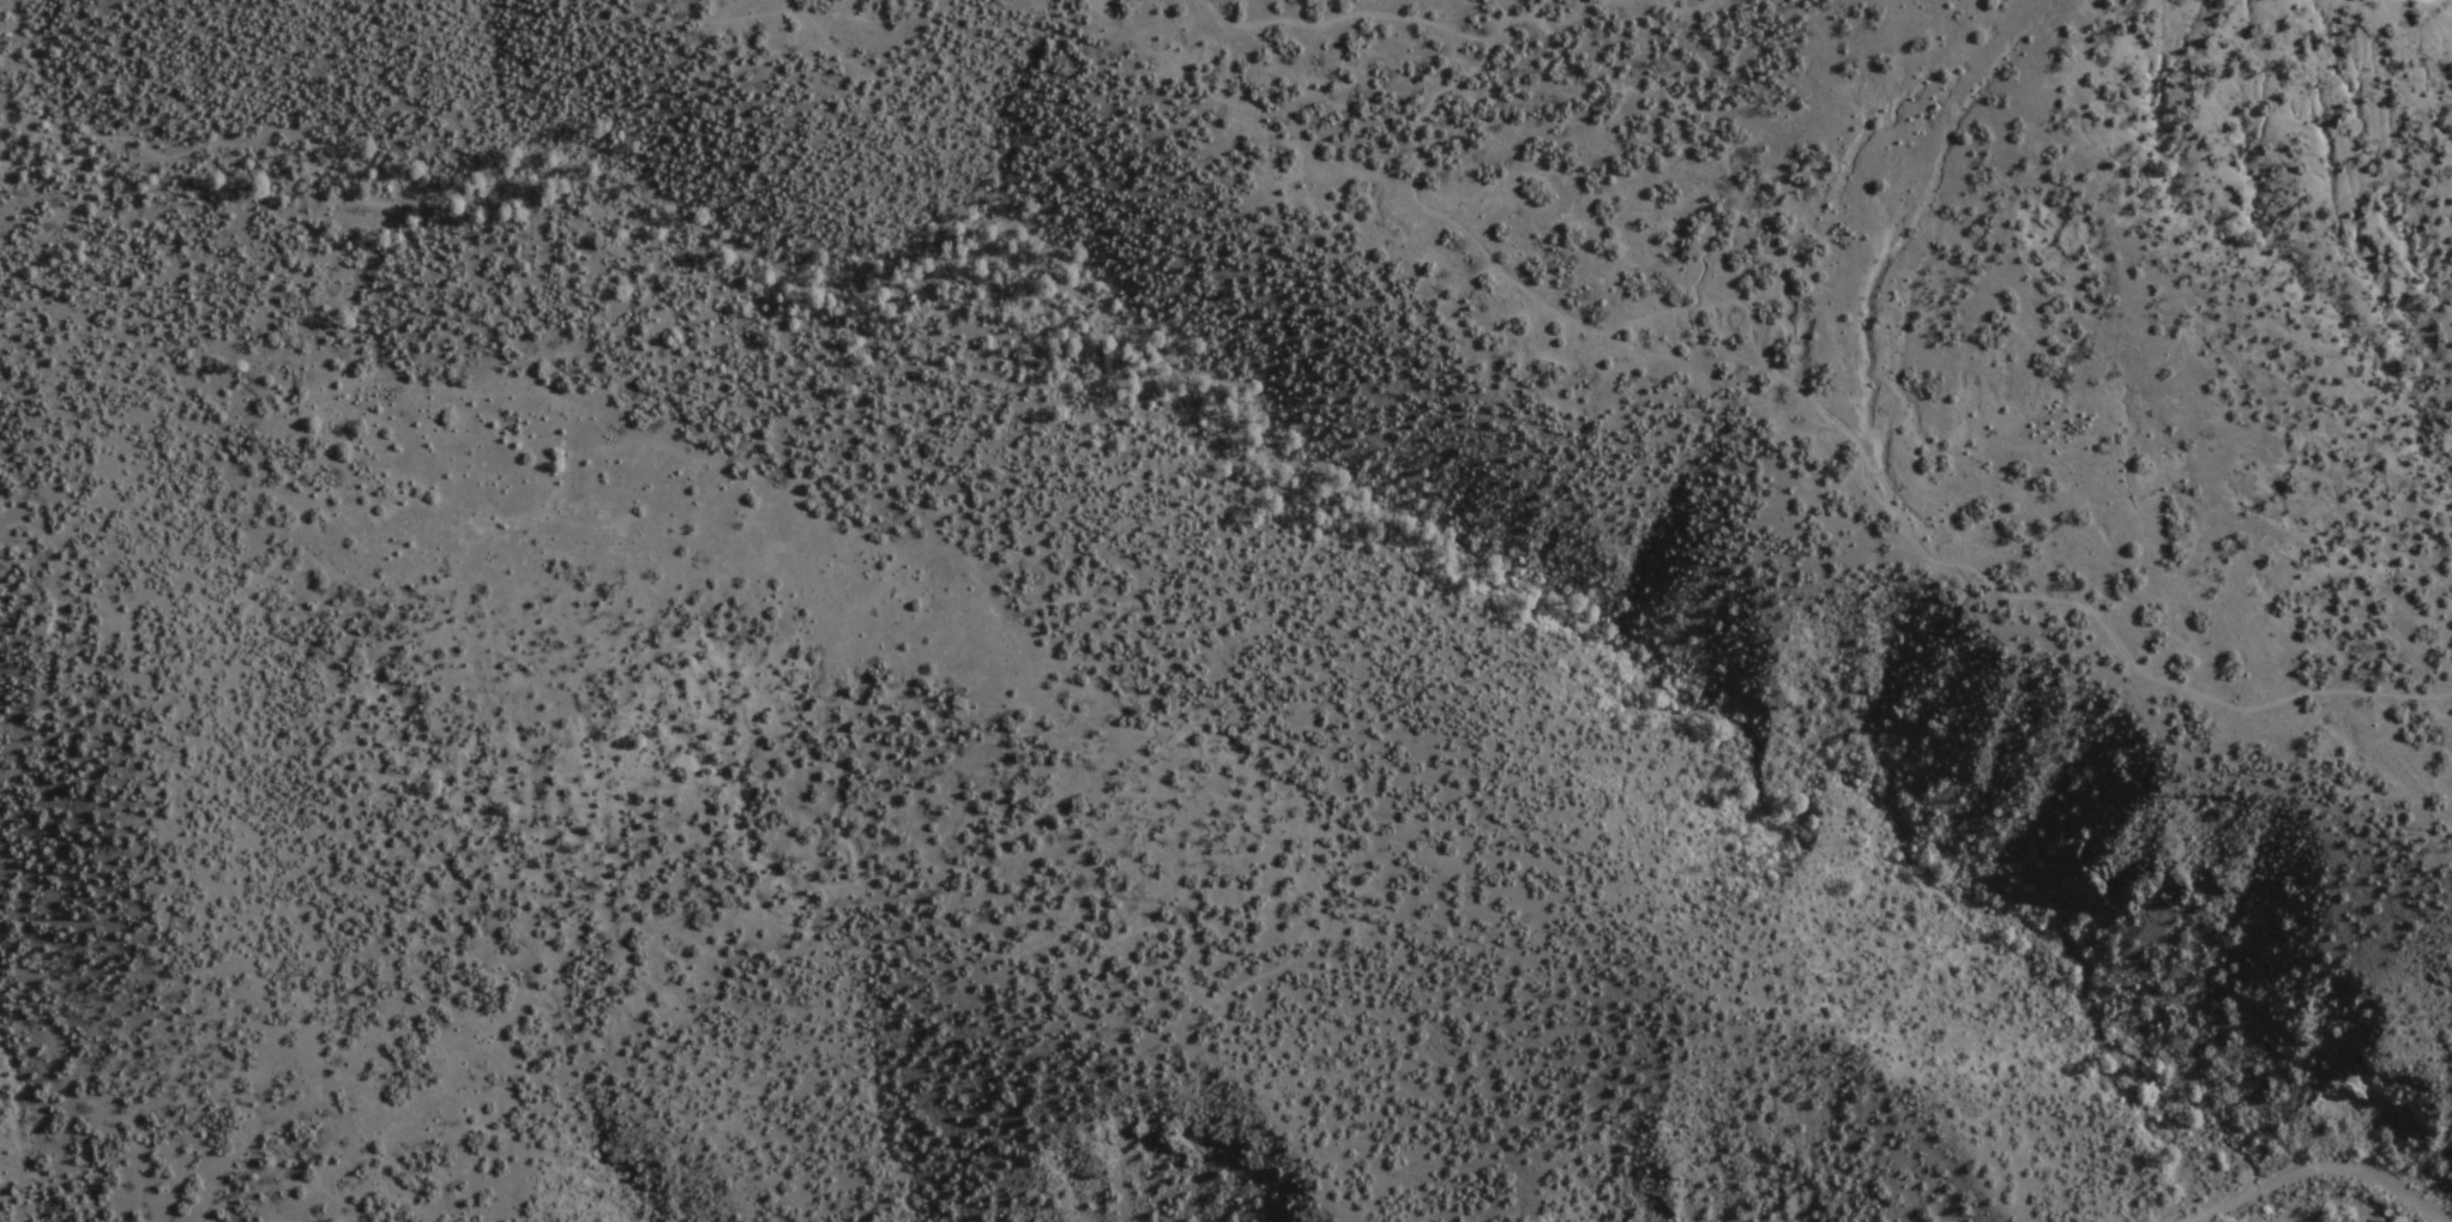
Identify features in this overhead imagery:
road: (856, 61)
road: (1752, 335)
road: (1299, 925)
road: (2318, 1172)

